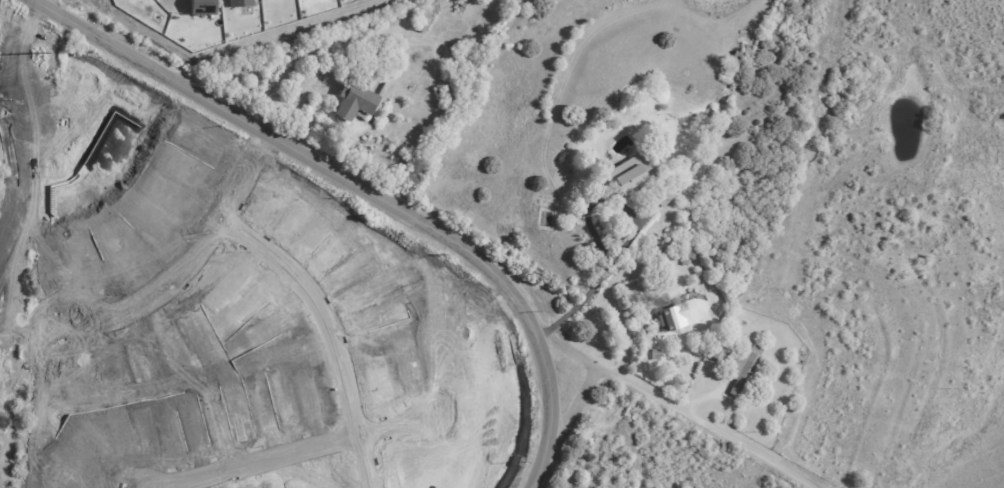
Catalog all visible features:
building: (239, 3)
building: (460, 6)
building: (201, 7)
building: (421, 29)
building: (737, 58)
building: (726, 77)
building: (352, 104)
building: (632, 175)
road: (365, 192)
building: (661, 197)
building: (680, 207)
building: (687, 254)
road: (188, 259)
road: (596, 284)
building: (679, 317)
road: (334, 327)
road: (569, 350)
building: (654, 356)
building: (738, 367)
road: (672, 405)
road: (291, 446)
road: (148, 486)

